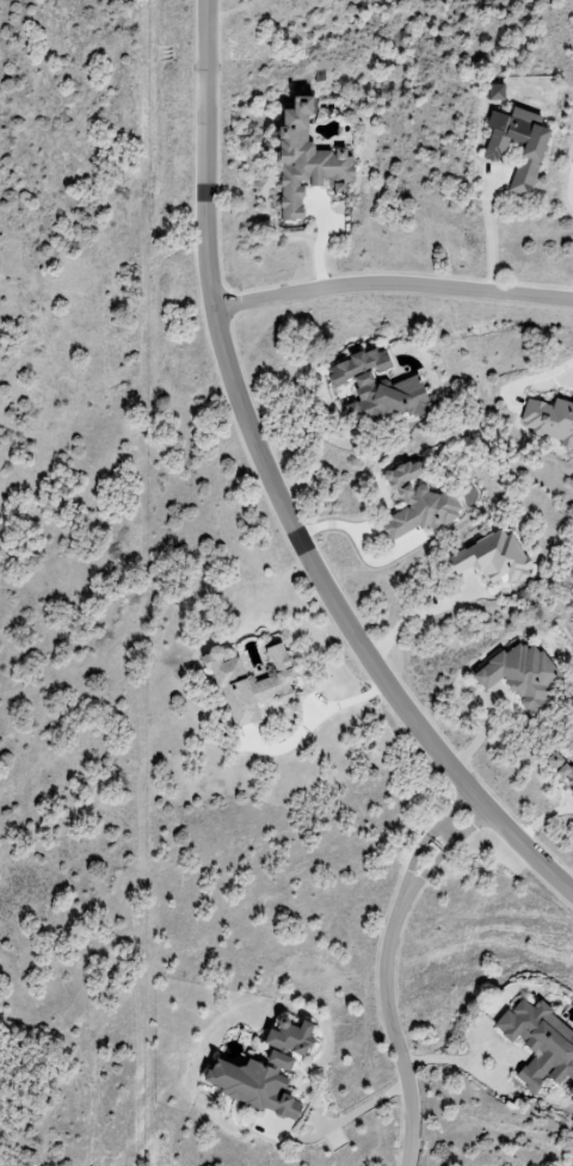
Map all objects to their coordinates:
building: (499, 92)
building: (536, 152)
building: (312, 160)
road: (492, 227)
road: (393, 278)
road: (538, 376)
building: (382, 385)
building: (549, 419)
road: (276, 492)
building: (419, 502)
road: (361, 544)
building: (495, 560)
road: (412, 617)
building: (523, 674)
building: (259, 690)
building: (571, 744)
building: (562, 766)
road: (446, 833)
road: (424, 840)
road: (442, 855)
road: (392, 1034)
building: (296, 1038)
building: (542, 1042)
building: (261, 1085)
building: (572, 1097)

